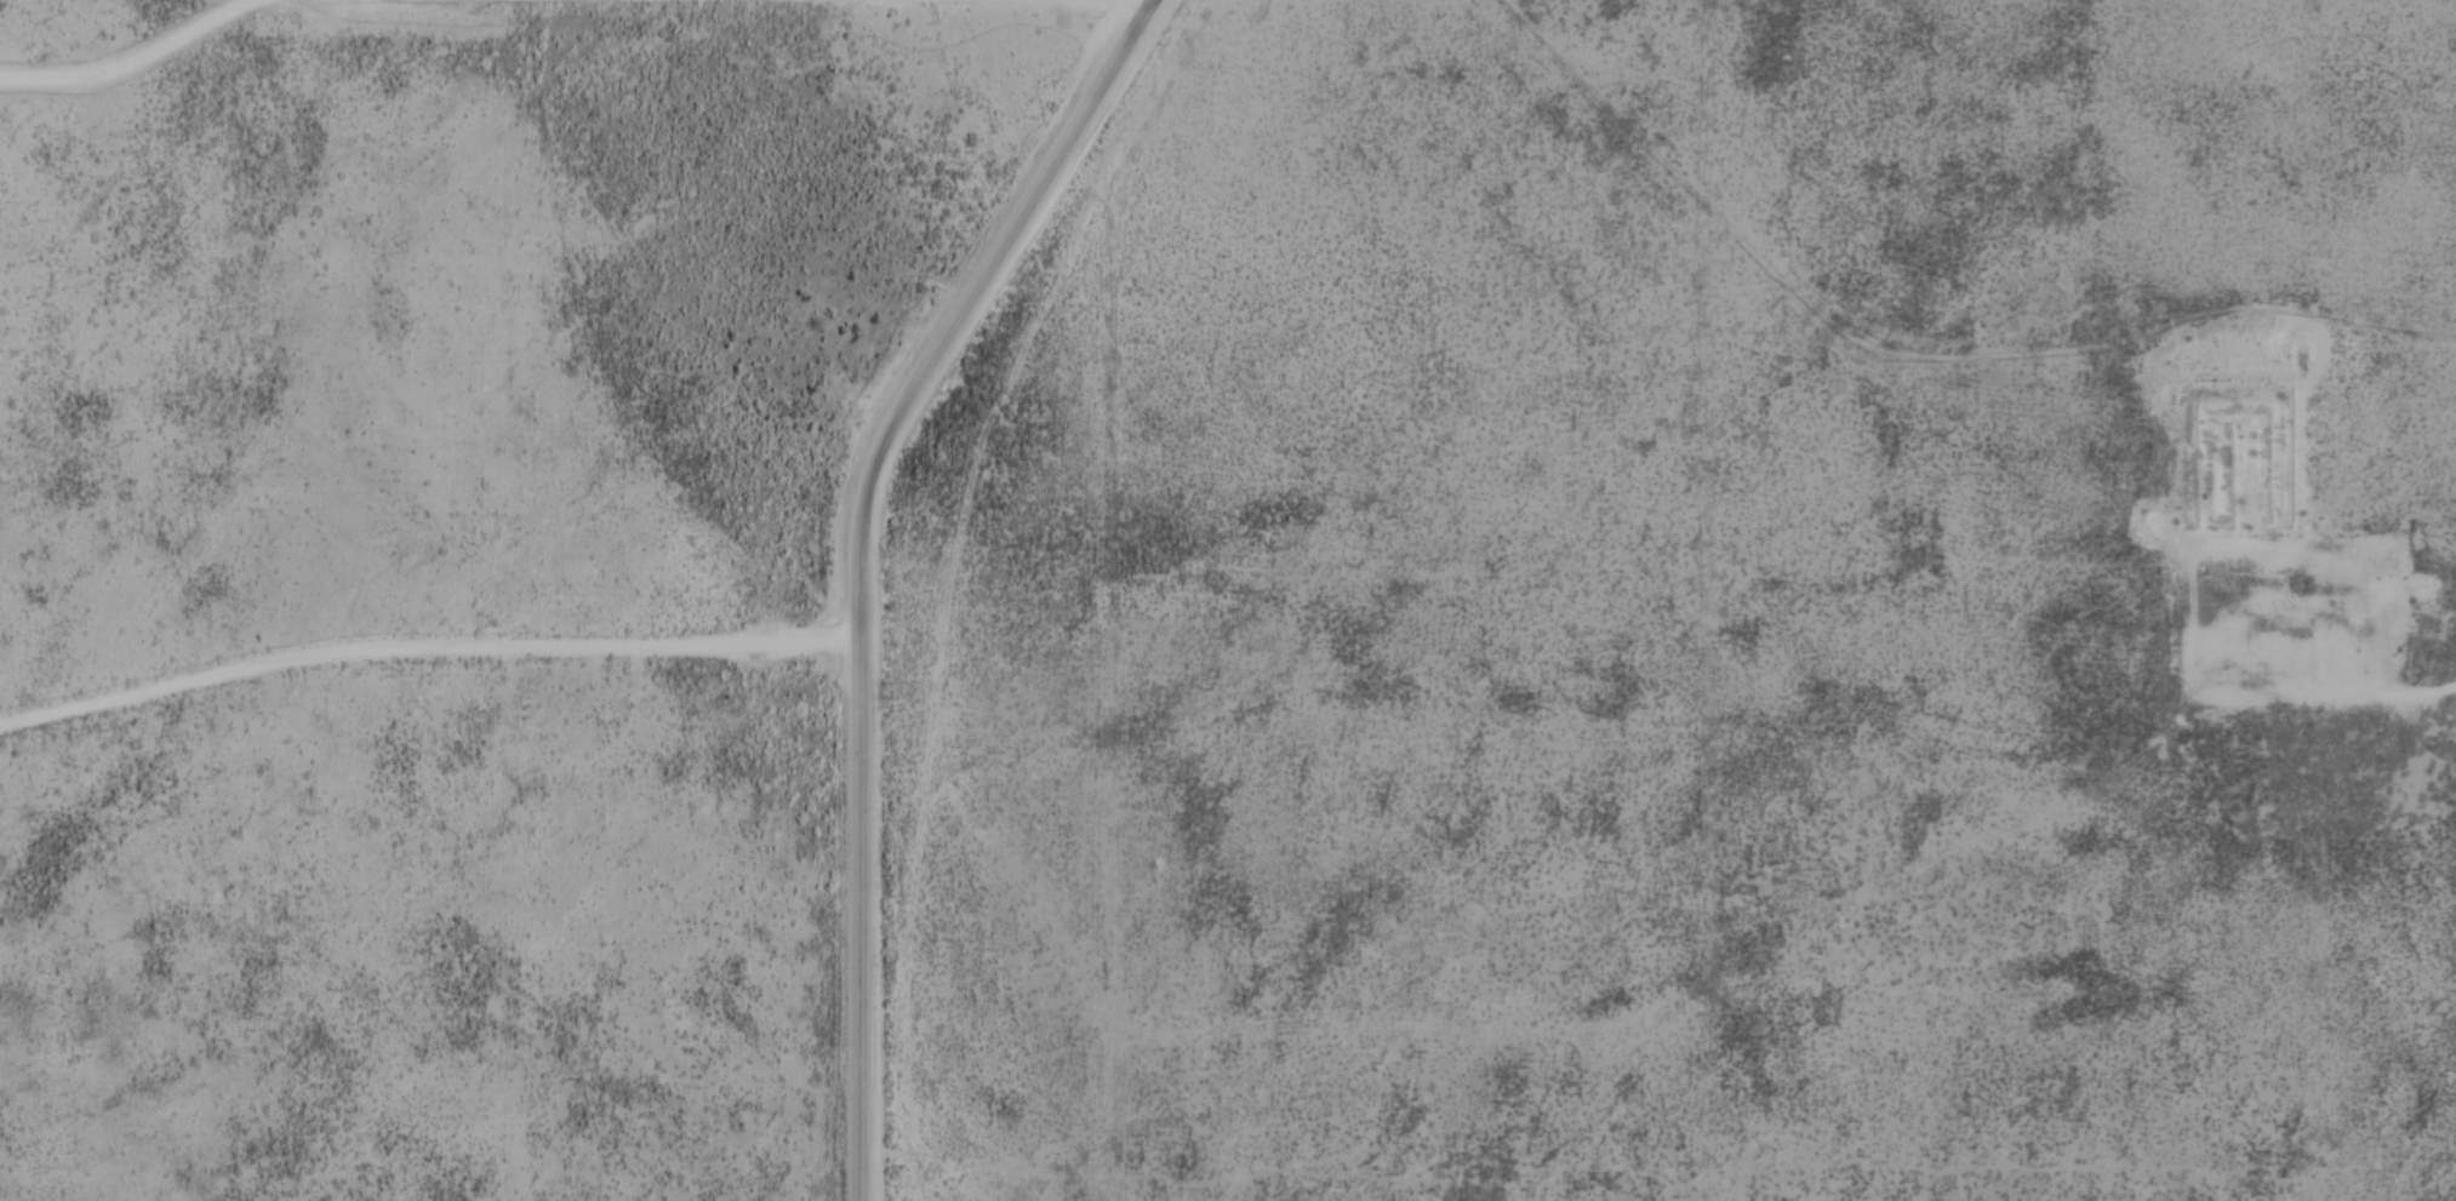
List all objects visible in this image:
road: (579, 1)
road: (889, 1)
road: (145, 58)
road: (863, 555)
road: (2302, 644)
road: (428, 645)

